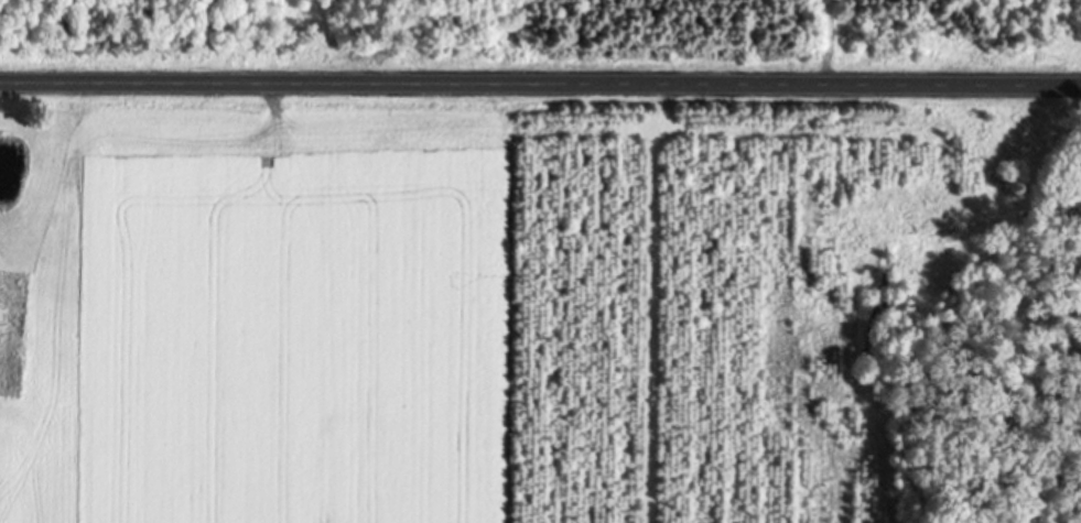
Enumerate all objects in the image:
road: (540, 86)

